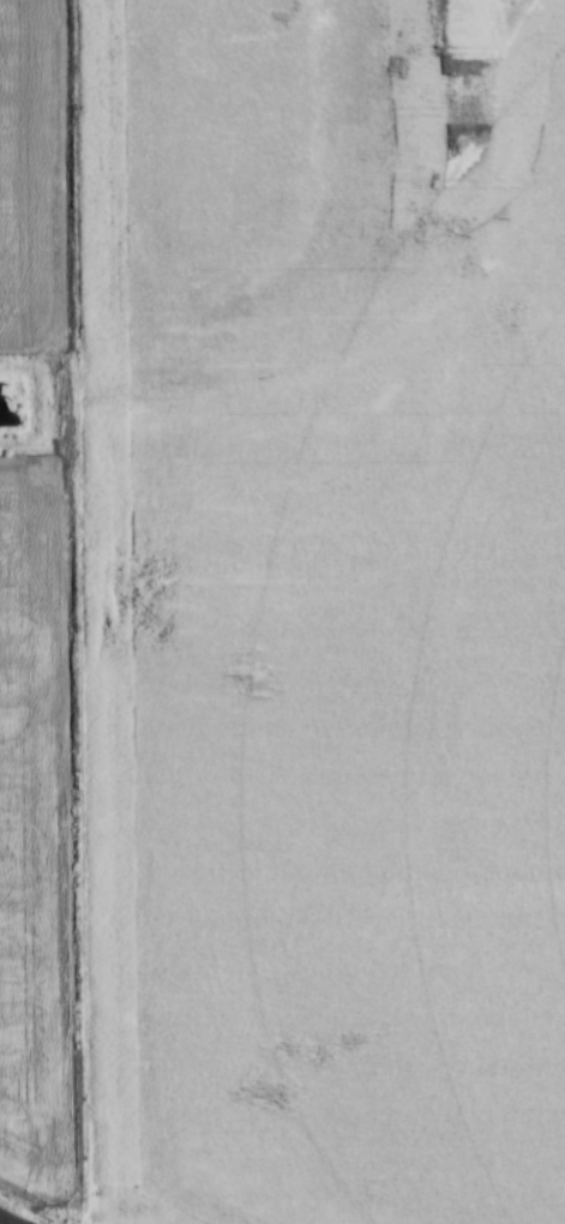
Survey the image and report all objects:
crop: (176, 158)
crop: (20, 179)
crop: (22, 828)
railway: (2, 1222)

